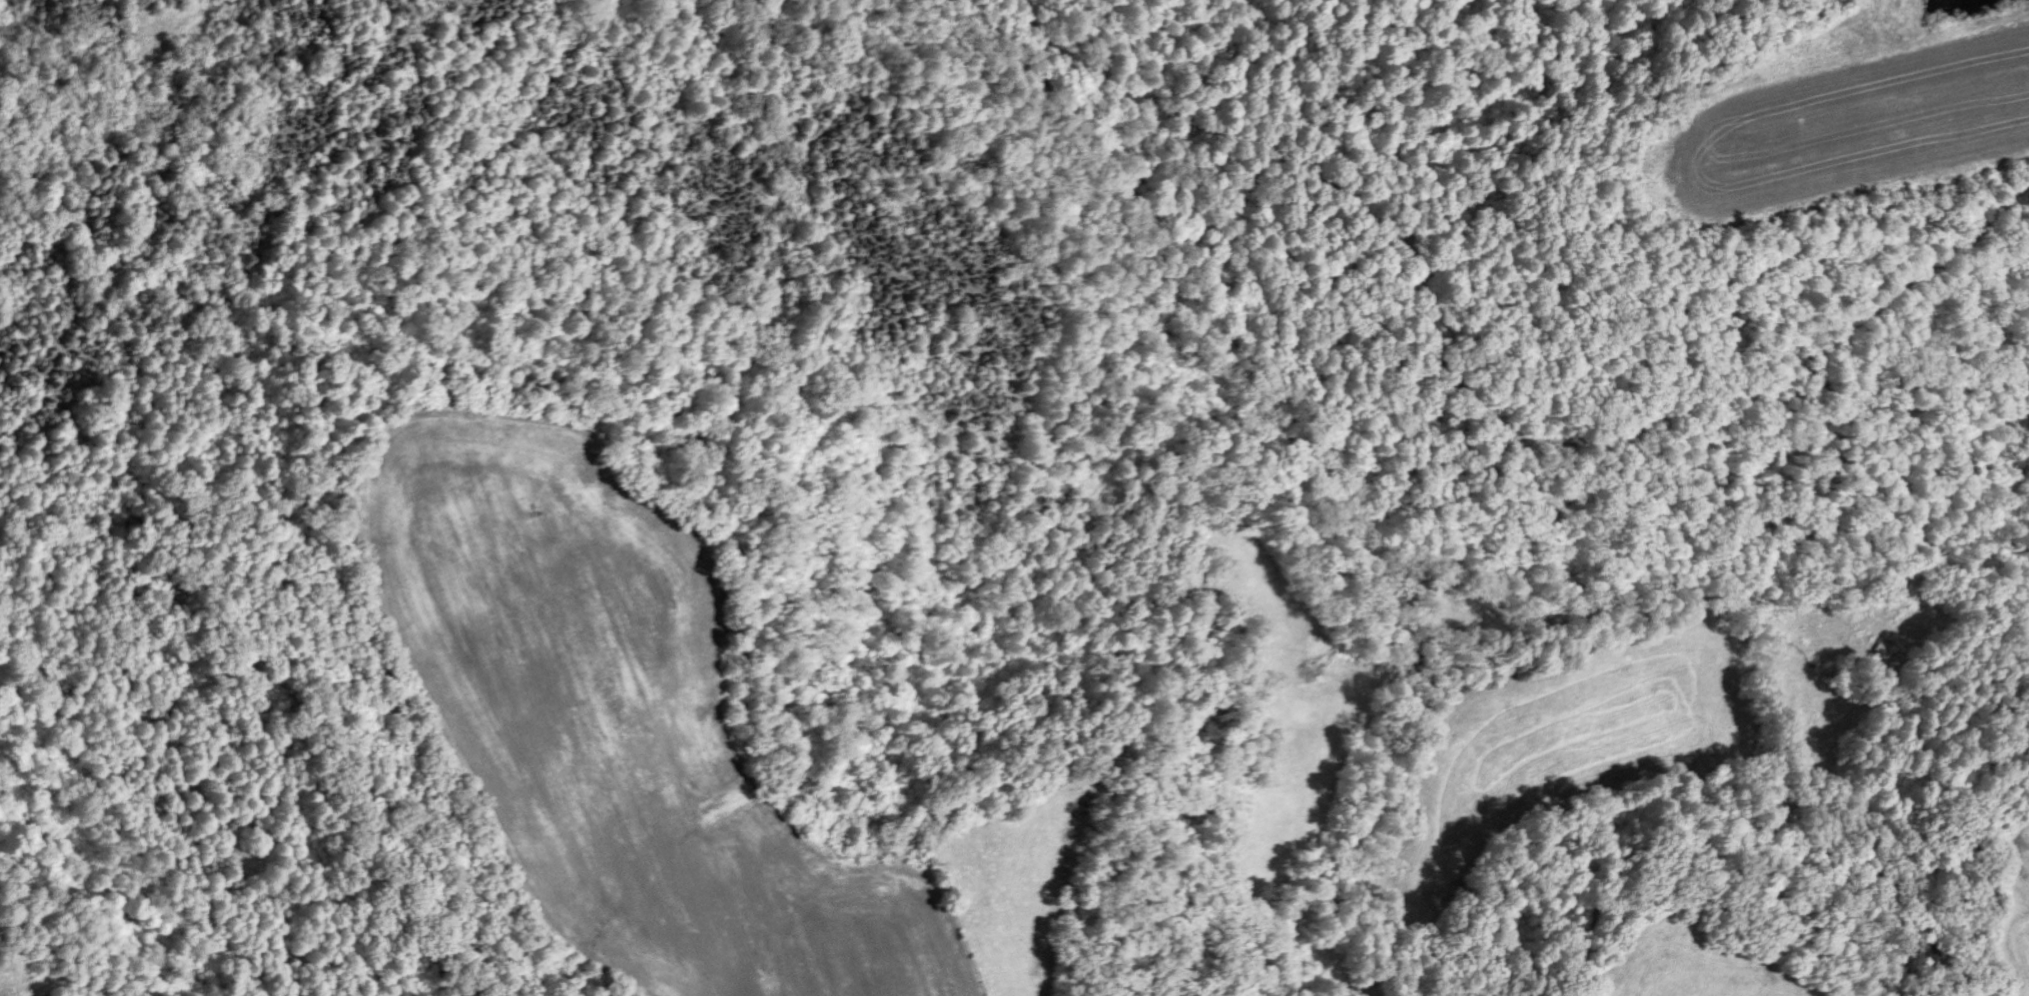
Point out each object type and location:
road: (1951, 233)

